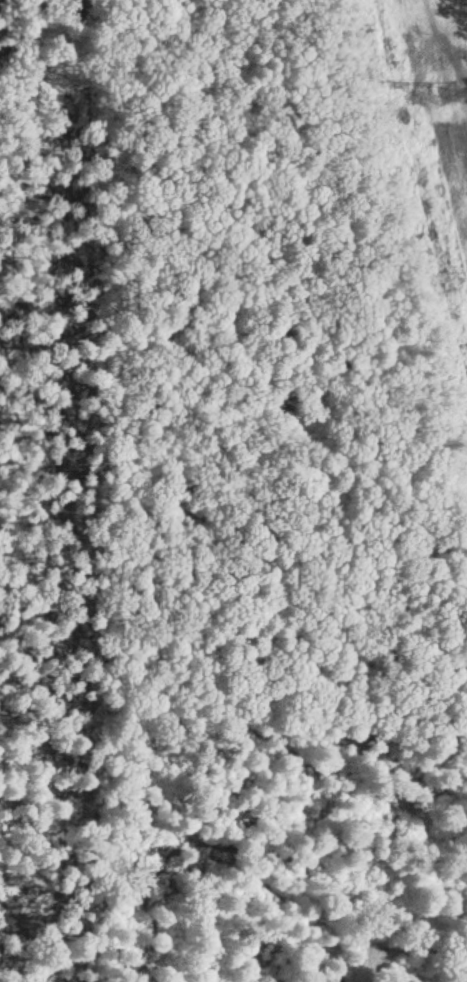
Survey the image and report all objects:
power tower: (435, 75)

